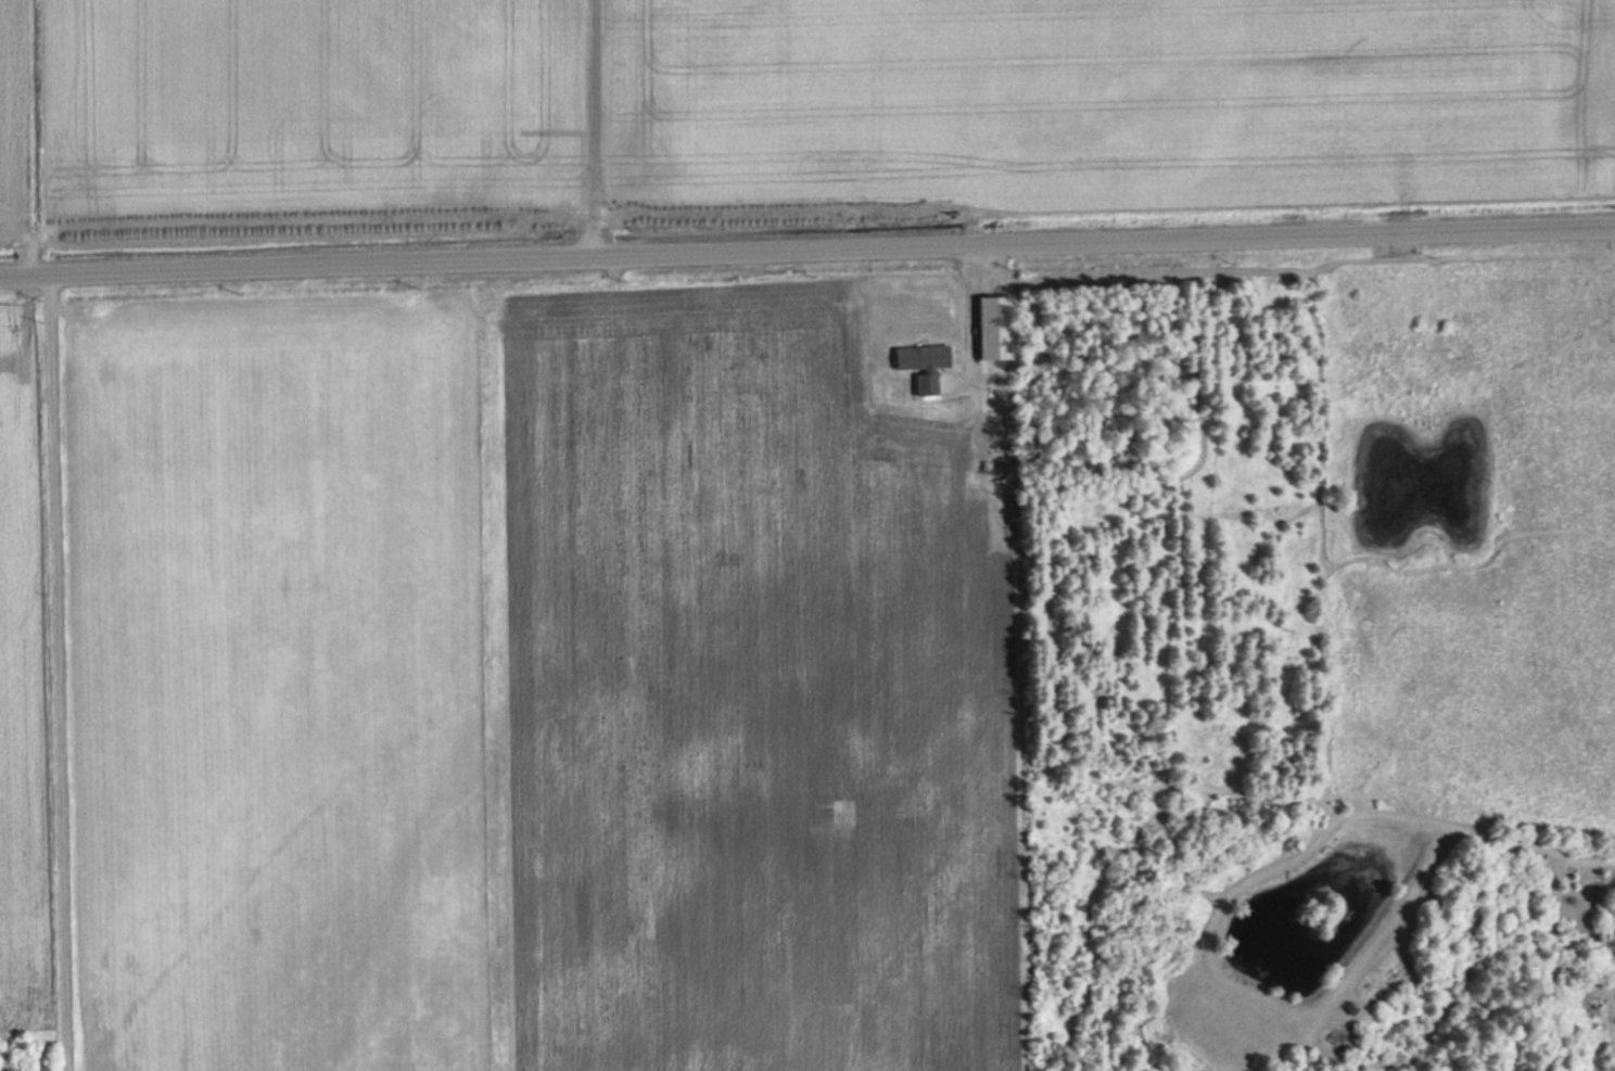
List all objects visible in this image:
road: (590, 131)
road: (806, 256)
building: (988, 327)
building: (921, 365)

